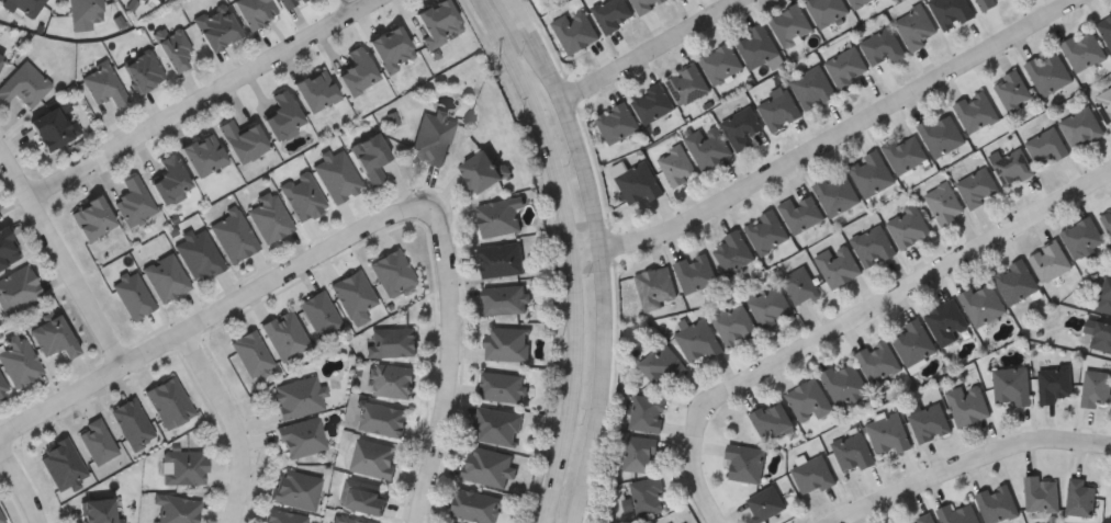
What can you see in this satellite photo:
building: (136, 0)
building: (858, 2)
building: (288, 3)
building: (986, 3)
road: (353, 4)
building: (647, 4)
building: (24, 7)
road: (515, 7)
building: (827, 10)
building: (83, 11)
building: (951, 11)
building: (254, 12)
building: (614, 13)
building: (436, 22)
building: (792, 25)
building: (917, 26)
building: (215, 27)
building: (1106, 27)
building: (576, 30)
building: (884, 45)
building: (757, 46)
building: (173, 48)
building: (390, 49)
road: (650, 49)
building: (1084, 49)
building: (0, 57)
building: (1, 60)
building: (722, 64)
building: (846, 67)
building: (142, 71)
building: (356, 71)
building: (1048, 71)
building: (688, 83)
building: (24, 84)
building: (103, 86)
building: (813, 87)
building: (1013, 90)
building: (315, 91)
road: (201, 98)
building: (653, 102)
building: (1104, 103)
building: (779, 107)
building: (976, 110)
building: (281, 116)
building: (618, 121)
building: (742, 126)
building: (1081, 126)
building: (50, 129)
building: (942, 133)
building: (431, 138)
building: (240, 140)
road: (831, 143)
building: (709, 145)
building: (1047, 146)
building: (906, 152)
building: (201, 155)
building: (369, 158)
building: (678, 164)
building: (1014, 167)
building: (481, 172)
building: (872, 173)
building: (338, 178)
building: (168, 179)
building: (639, 182)
building: (979, 186)
building: (838, 193)
building: (303, 196)
building: (134, 202)
building: (945, 202)
building: (801, 213)
building: (90, 217)
building: (269, 217)
building: (496, 218)
building: (1108, 218)
building: (909, 225)
building: (767, 231)
building: (234, 236)
building: (1084, 237)
building: (874, 245)
building: (7, 248)
building: (734, 252)
road: (572, 253)
building: (200, 255)
road: (63, 257)
building: (498, 260)
building: (1051, 260)
road: (601, 262)
building: (839, 264)
building: (390, 273)
building: (696, 273)
building: (166, 278)
building: (1017, 281)
building: (801, 285)
building: (656, 287)
building: (16, 289)
building: (352, 294)
building: (1106, 296)
building: (133, 297)
building: (502, 299)
building: (983, 303)
building: (771, 305)
building: (318, 315)
road: (852, 317)
road: (212, 318)
building: (947, 321)
building: (734, 323)
building: (284, 336)
building: (1102, 336)
building: (50, 338)
building: (698, 341)
building: (914, 341)
building: (391, 342)
building: (504, 344)
building: (250, 354)
building: (18, 361)
road: (450, 361)
building: (878, 361)
building: (661, 363)
building: (390, 379)
building: (845, 382)
building: (1055, 383)
building: (1013, 385)
building: (498, 387)
building: (1097, 388)
building: (2, 389)
building: (295, 398)
building: (809, 400)
building: (168, 402)
building: (969, 403)
building: (648, 412)
building: (380, 419)
building: (773, 419)
building: (930, 421)
building: (131, 423)
road: (232, 423)
building: (494, 427)
building: (888, 433)
building: (299, 439)
building: (96, 442)
building: (854, 452)
building: (640, 453)
building: (371, 457)
road: (970, 458)
building: (747, 461)
building: (60, 465)
building: (484, 466)
building: (182, 468)
building: (815, 474)
road: (21, 484)
building: (292, 490)
building: (649, 494)
building: (1041, 494)
building: (360, 496)
building: (1079, 498)
building: (767, 502)
building: (997, 502)
building: (473, 507)
building: (176, 509)
building: (96, 511)
building: (958, 513)
building: (281, 518)
building: (923, 519)
building: (1, 520)
building: (349, 521)

